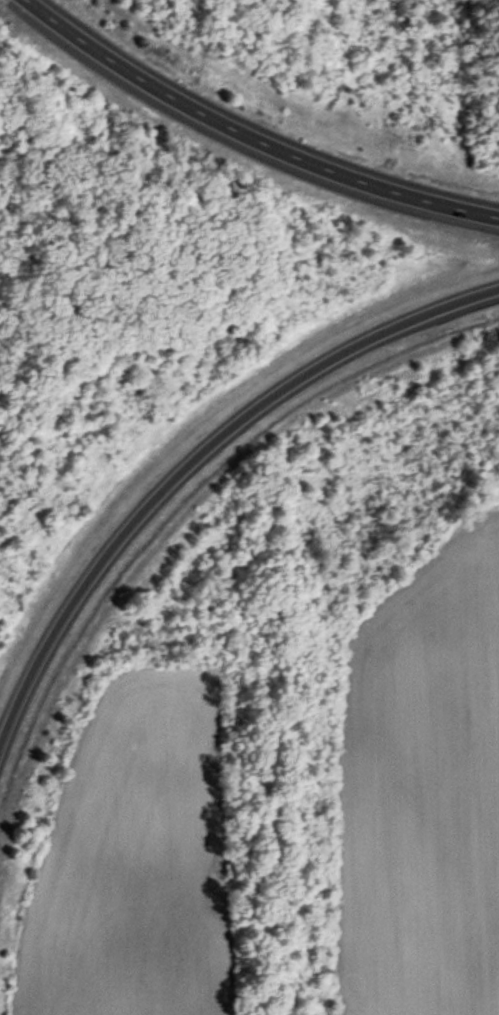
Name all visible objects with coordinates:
road: (23, 3)
road: (251, 138)
road: (197, 451)

